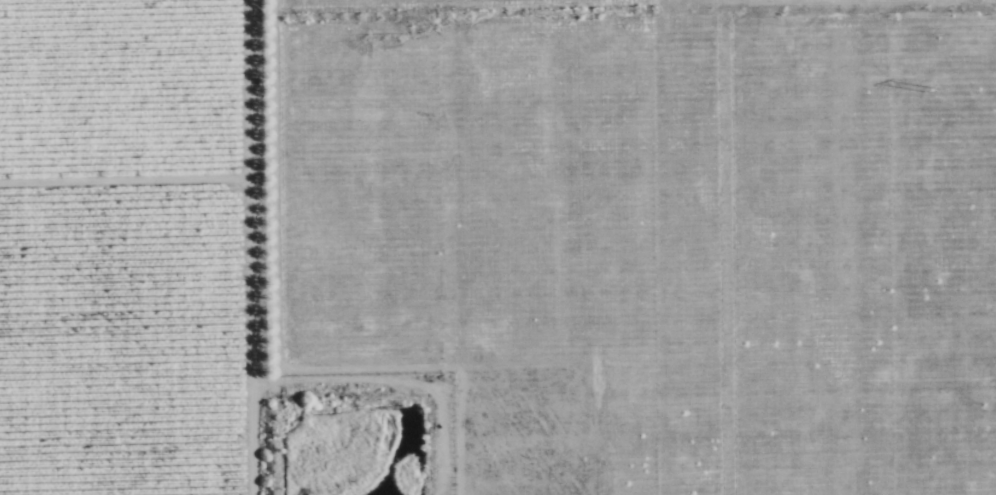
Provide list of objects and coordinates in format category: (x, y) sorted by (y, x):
power tower: (934, 94)
road: (253, 247)

